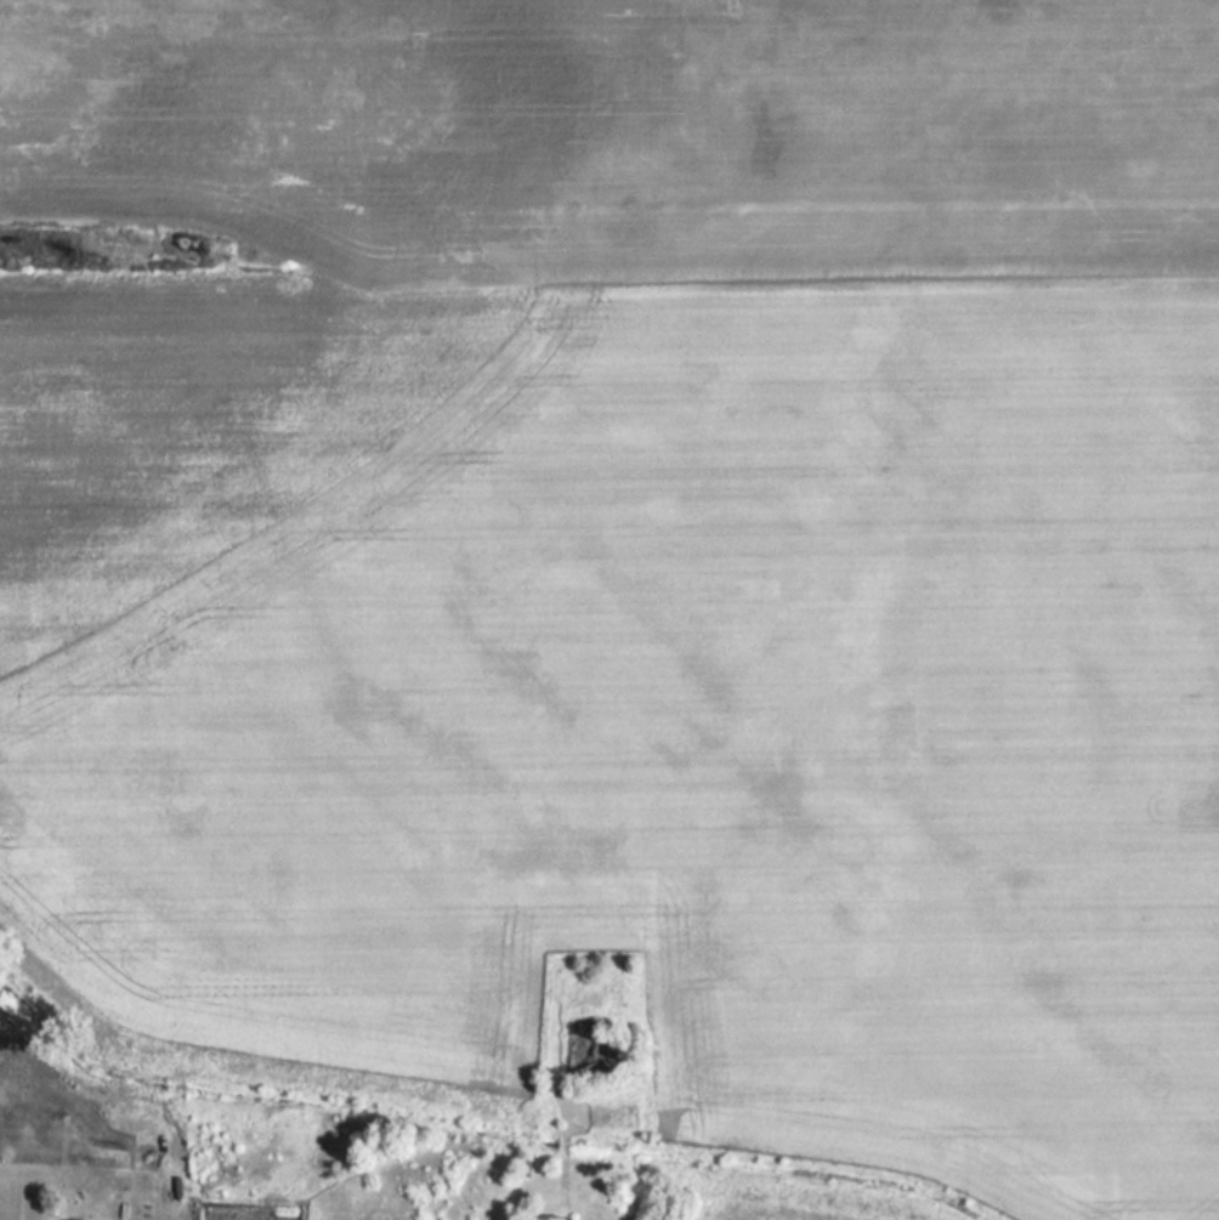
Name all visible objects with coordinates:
building: (589, 1061)
building: (552, 1219)

